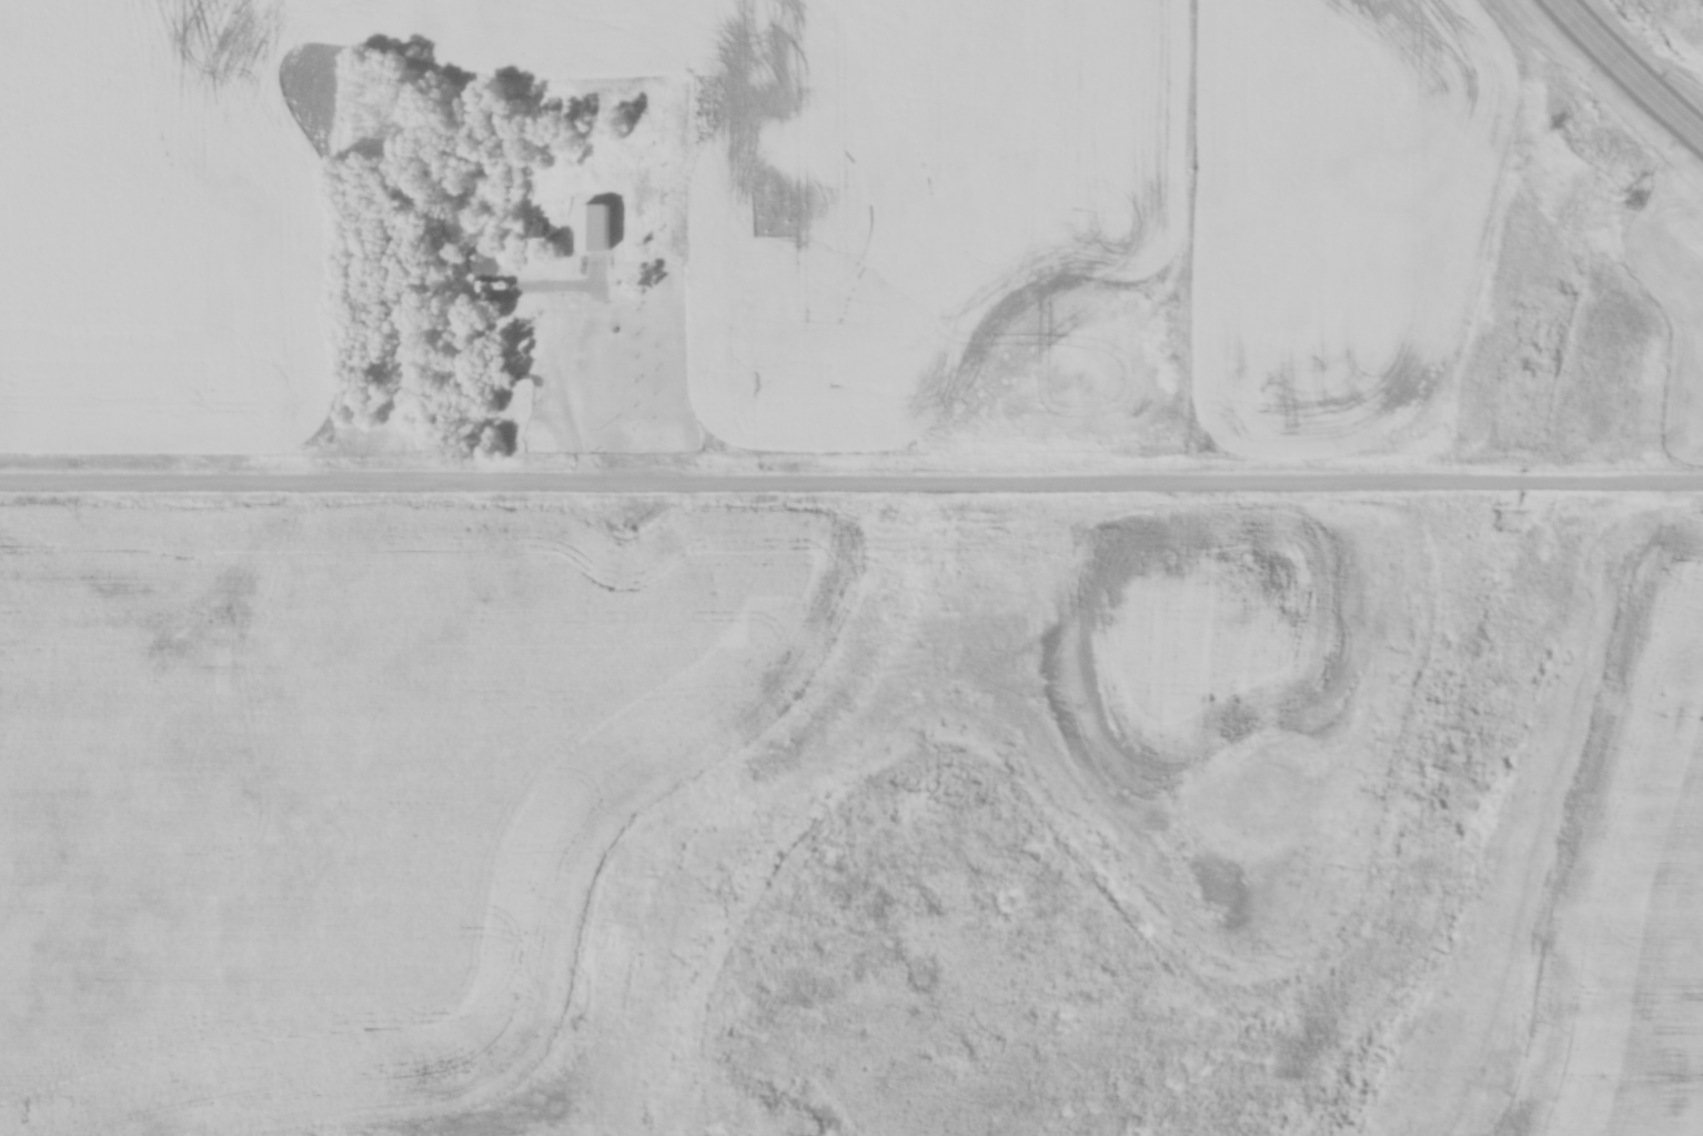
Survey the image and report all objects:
road: (1628, 72)
road: (851, 485)

